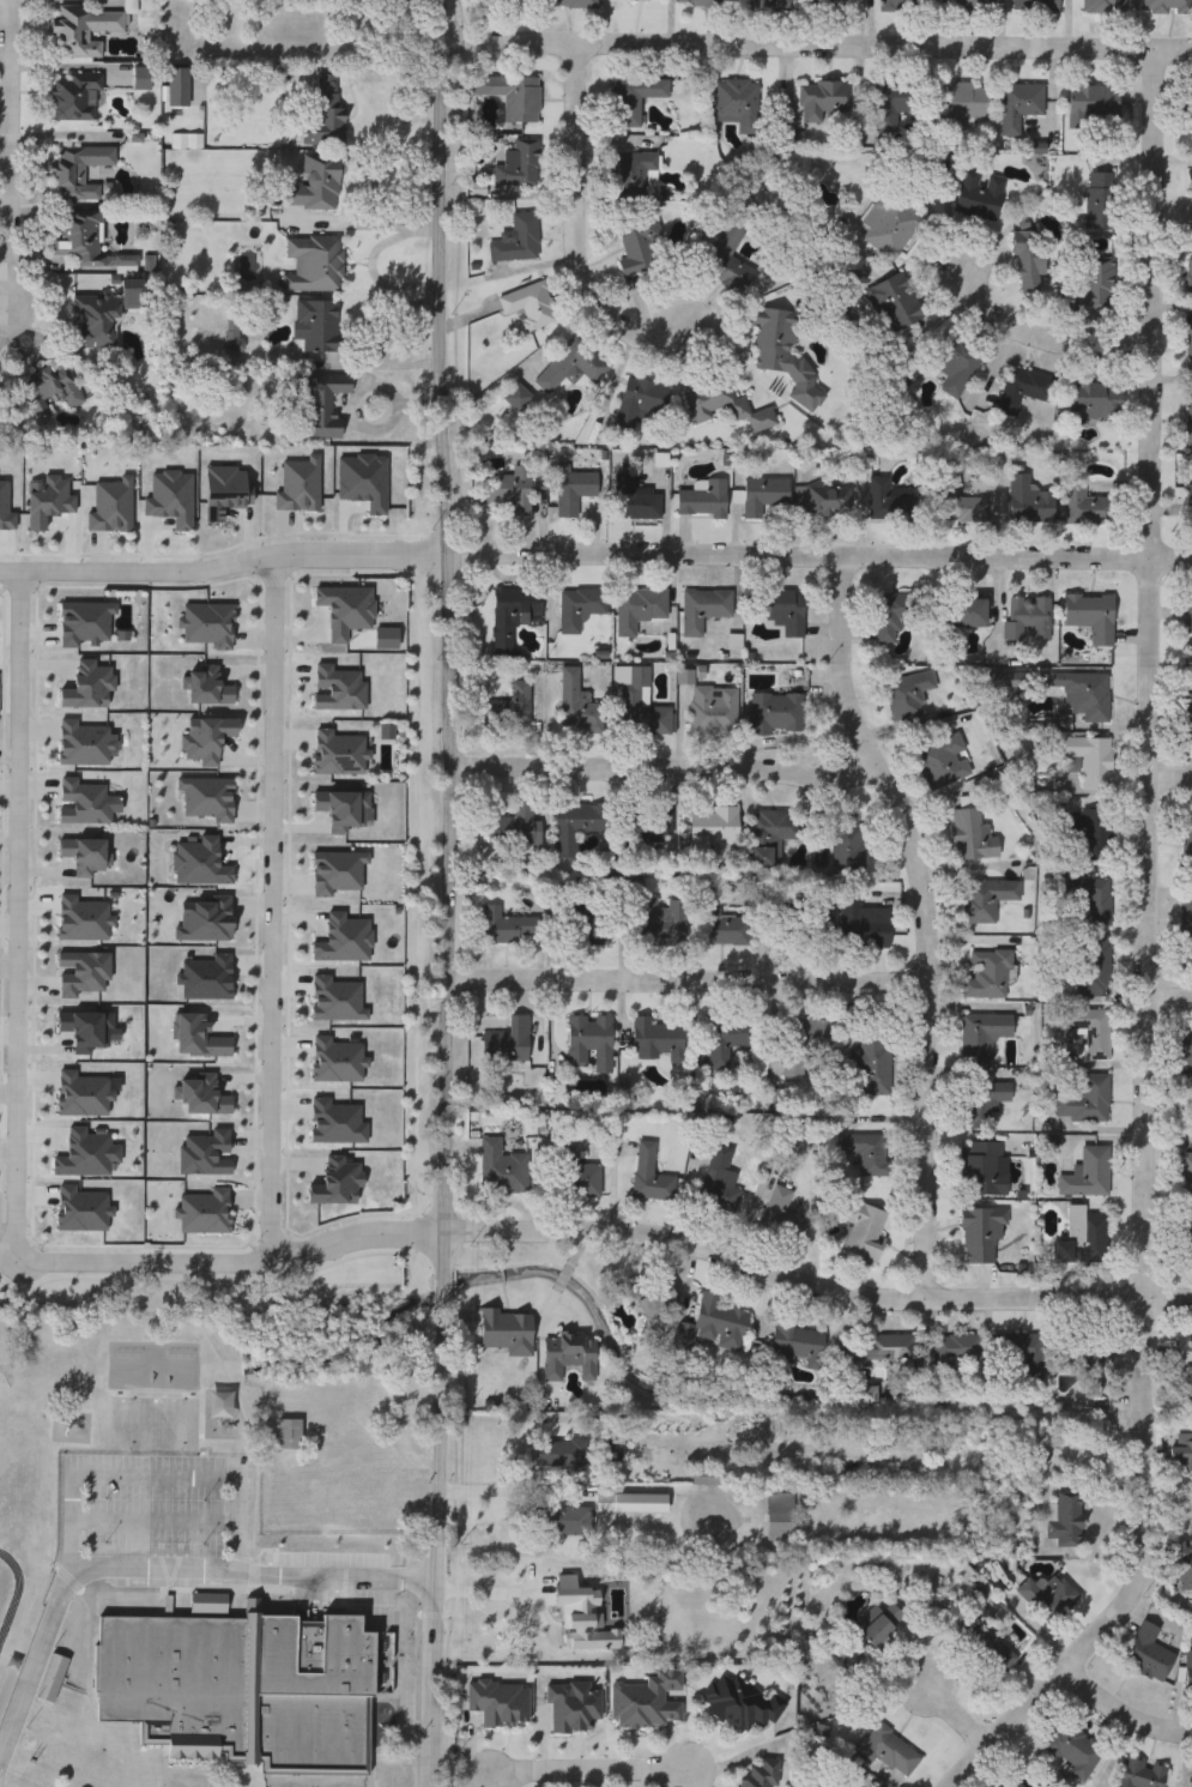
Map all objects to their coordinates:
building: (645, 0)
building: (555, 4)
building: (703, 4)
building: (903, 5)
building: (773, 6)
building: (829, 6)
building: (968, 6)
building: (1035, 6)
building: (1103, 6)
building: (1167, 6)
building: (84, 28)
road: (817, 49)
building: (183, 87)
building: (512, 96)
building: (75, 97)
building: (635, 99)
building: (825, 102)
building: (737, 103)
building: (966, 104)
building: (1093, 105)
building: (890, 107)
building: (1018, 107)
building: (1191, 111)
building: (322, 115)
road: (8, 161)
building: (519, 167)
building: (79, 175)
building: (629, 175)
building: (317, 186)
building: (979, 195)
building: (1190, 198)
building: (1101, 201)
road: (424, 218)
road: (345, 225)
building: (890, 225)
road: (575, 233)
building: (81, 237)
building: (516, 241)
building: (641, 246)
building: (726, 250)
building: (1030, 262)
road: (374, 264)
building: (314, 266)
building: (1190, 273)
building: (1097, 285)
building: (897, 301)
building: (530, 306)
building: (95, 321)
building: (319, 325)
road: (1041, 338)
building: (1188, 345)
building: (785, 354)
building: (956, 363)
building: (570, 367)
building: (50, 390)
building: (1023, 390)
building: (518, 398)
building: (1095, 402)
building: (637, 403)
building: (726, 405)
building: (323, 406)
building: (1188, 419)
building: (510, 491)
building: (576, 491)
building: (764, 496)
building: (823, 499)
building: (703, 500)
building: (636, 501)
building: (894, 502)
building: (1188, 502)
building: (1029, 503)
building: (1088, 506)
road: (821, 561)
road: (225, 566)
building: (588, 605)
building: (639, 609)
building: (704, 610)
building: (781, 611)
building: (969, 614)
building: (513, 616)
building: (894, 616)
building: (1091, 617)
building: (1187, 617)
building: (1030, 620)
building: (1084, 695)
building: (907, 696)
building: (640, 705)
building: (509, 706)
building: (579, 706)
building: (1187, 708)
building: (713, 711)
building: (776, 714)
building: (1091, 760)
road: (664, 762)
building: (943, 763)
road: (1169, 786)
building: (515, 826)
building: (580, 826)
building: (649, 826)
building: (712, 828)
building: (1089, 832)
building: (770, 835)
building: (972, 837)
building: (1187, 840)
building: (847, 845)
road: (449, 893)
building: (980, 902)
building: (1093, 904)
road: (273, 907)
building: (1186, 913)
road: (19, 917)
building: (661, 923)
road: (925, 923)
building: (585, 924)
building: (720, 925)
building: (506, 928)
building: (839, 929)
road: (1145, 952)
building: (1093, 968)
building: (72, 971)
building: (988, 977)
road: (691, 986)
road: (1168, 1001)
building: (1090, 1031)
building: (984, 1036)
building: (589, 1040)
building: (727, 1040)
building: (656, 1042)
building: (507, 1043)
building: (803, 1043)
building: (1186, 1063)
building: (871, 1065)
building: (1085, 1101)
building: (984, 1103)
building: (866, 1153)
building: (79, 1155)
building: (501, 1169)
building: (981, 1169)
building: (1088, 1175)
building: (649, 1176)
building: (576, 1177)
building: (1185, 1177)
building: (718, 1187)
building: (782, 1217)
building: (863, 1231)
building: (982, 1236)
building: (1082, 1238)
building: (1186, 1238)
road: (234, 1260)
road: (815, 1286)
building: (647, 1304)
building: (713, 1326)
building: (508, 1332)
building: (797, 1344)
building: (878, 1348)
building: (956, 1350)
building: (1185, 1352)
building: (1083, 1353)
building: (1025, 1357)
building: (569, 1358)
road: (519, 1418)
building: (289, 1435)
building: (615, 1451)
building: (1181, 1454)
building: (561, 1456)
road: (151, 1478)
building: (706, 1479)
building: (624, 1505)
building: (780, 1519)
building: (1067, 1521)
building: (561, 1522)
road: (1168, 1525)
road: (158, 1566)
building: (1181, 1570)
building: (1046, 1598)
building: (552, 1613)
building: (879, 1625)
building: (994, 1653)
building: (1146, 1654)
building: (1188, 1671)
building: (246, 1688)
building: (647, 1702)
building: (500, 1703)
building: (742, 1706)
road: (952, 1710)
road: (1121, 1710)
building: (53, 1722)
building: (1071, 1747)
building: (43, 1749)
building: (885, 1751)
road: (597, 1773)
building: (1140, 1774)
building: (760, 1775)
building: (1011, 1783)

